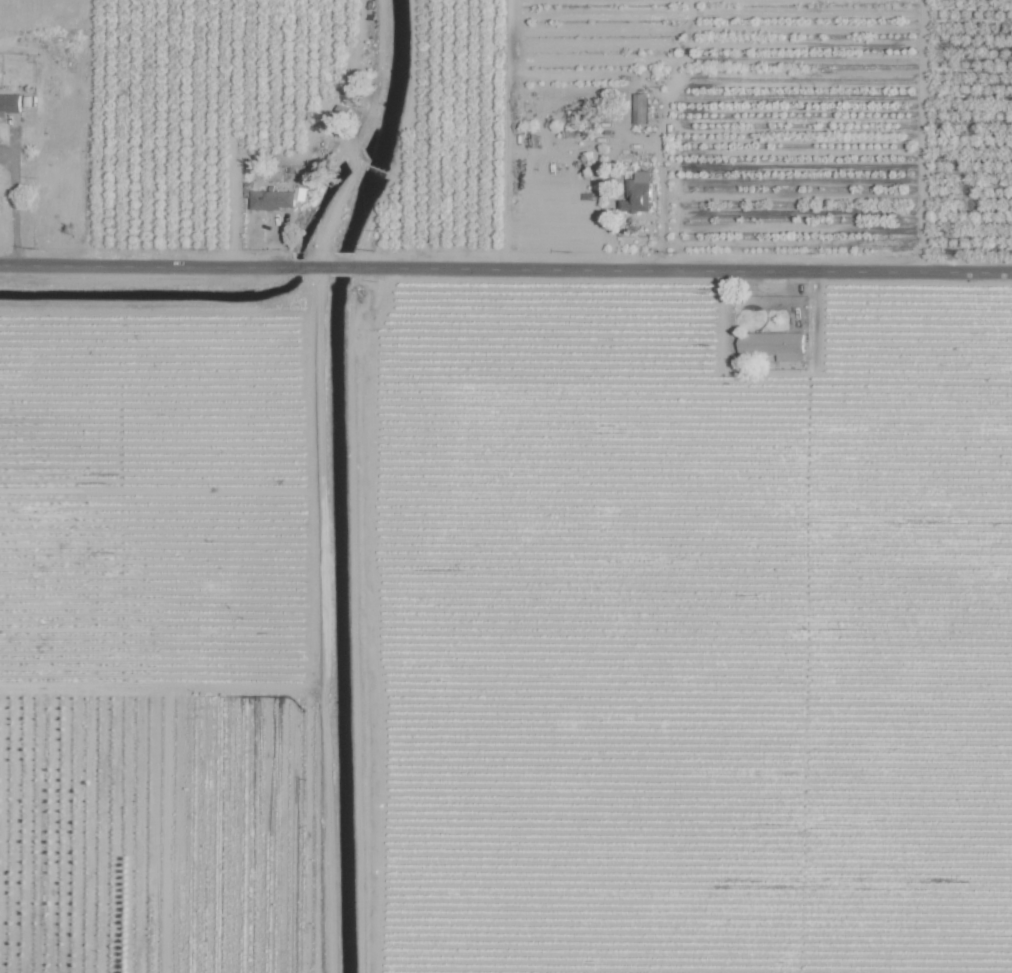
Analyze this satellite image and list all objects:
building: (9, 104)
building: (638, 108)
building: (638, 193)
building: (272, 200)
road: (663, 202)
road: (14, 206)
road: (505, 277)
building: (773, 344)

